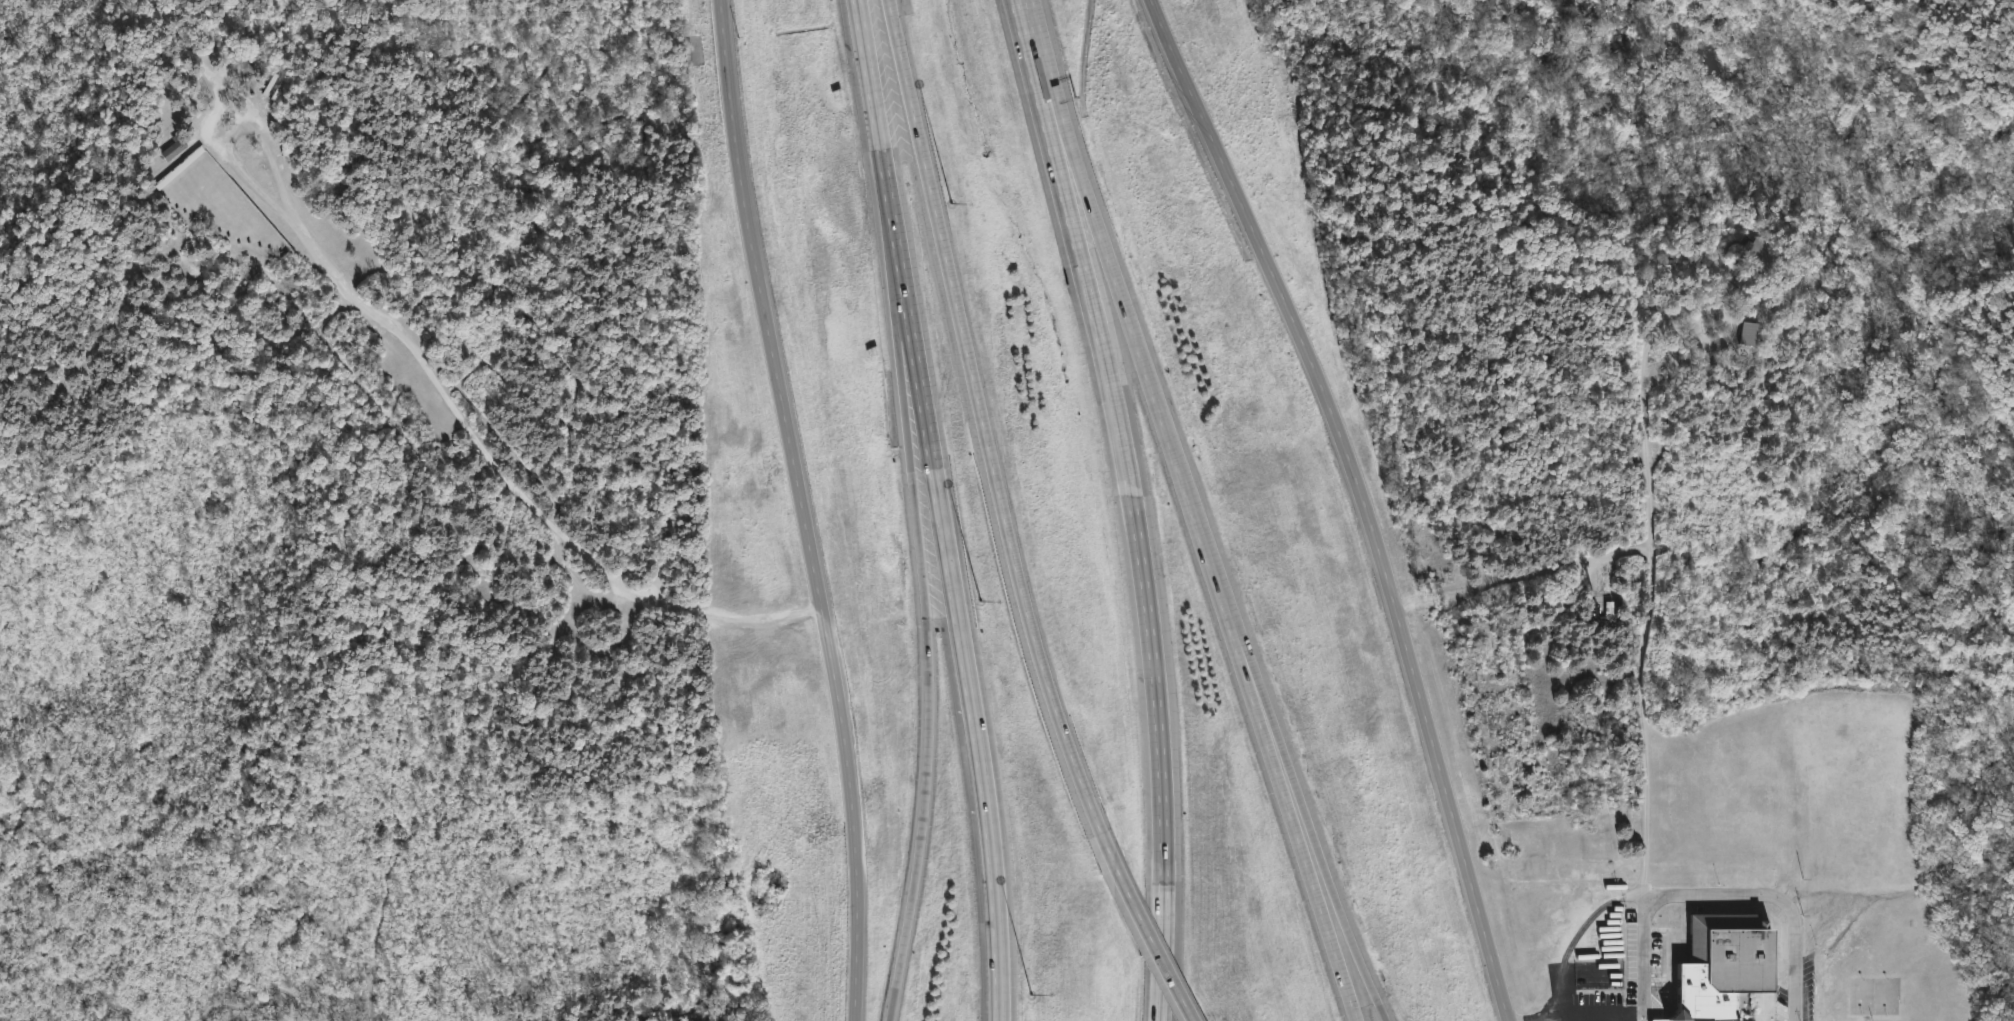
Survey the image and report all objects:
road: (1032, 50)
building: (278, 87)
road: (1064, 141)
road: (1054, 144)
building: (176, 148)
road: (886, 168)
building: (1755, 255)
road: (1706, 312)
building: (1747, 334)
road: (438, 365)
road: (911, 383)
road: (1646, 422)
road: (987, 436)
road: (1365, 499)
road: (802, 509)
road: (1650, 595)
street lamp: (981, 599)
road: (1147, 600)
road: (1221, 600)
building: (1608, 611)
road: (969, 677)
road: (1257, 687)
road: (929, 726)
road: (1329, 875)
road: (1708, 891)
road: (1150, 944)
building: (1715, 966)
street lamp: (1032, 995)
road: (1602, 1012)
road: (1643, 1016)
road: (1563, 1017)
road: (1577, 1017)

